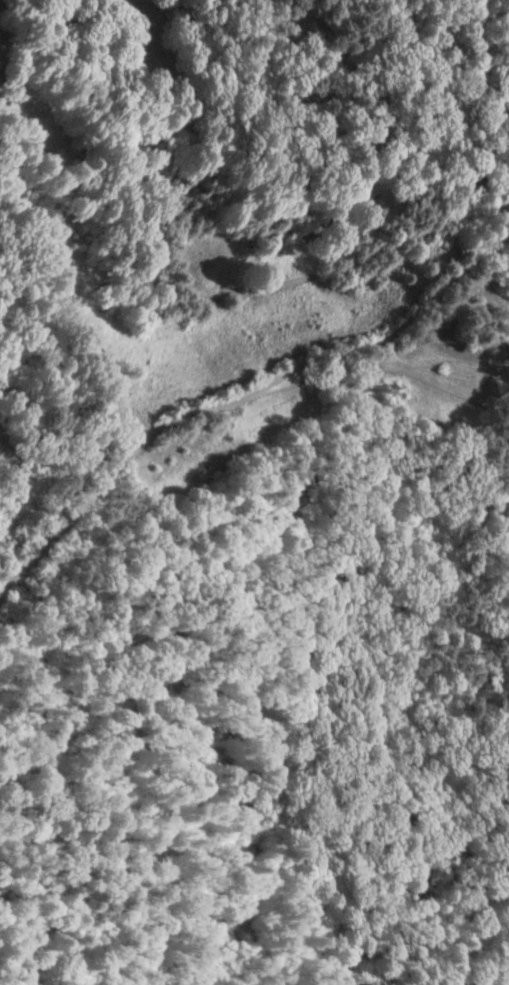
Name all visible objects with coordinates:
road: (243, 394)

